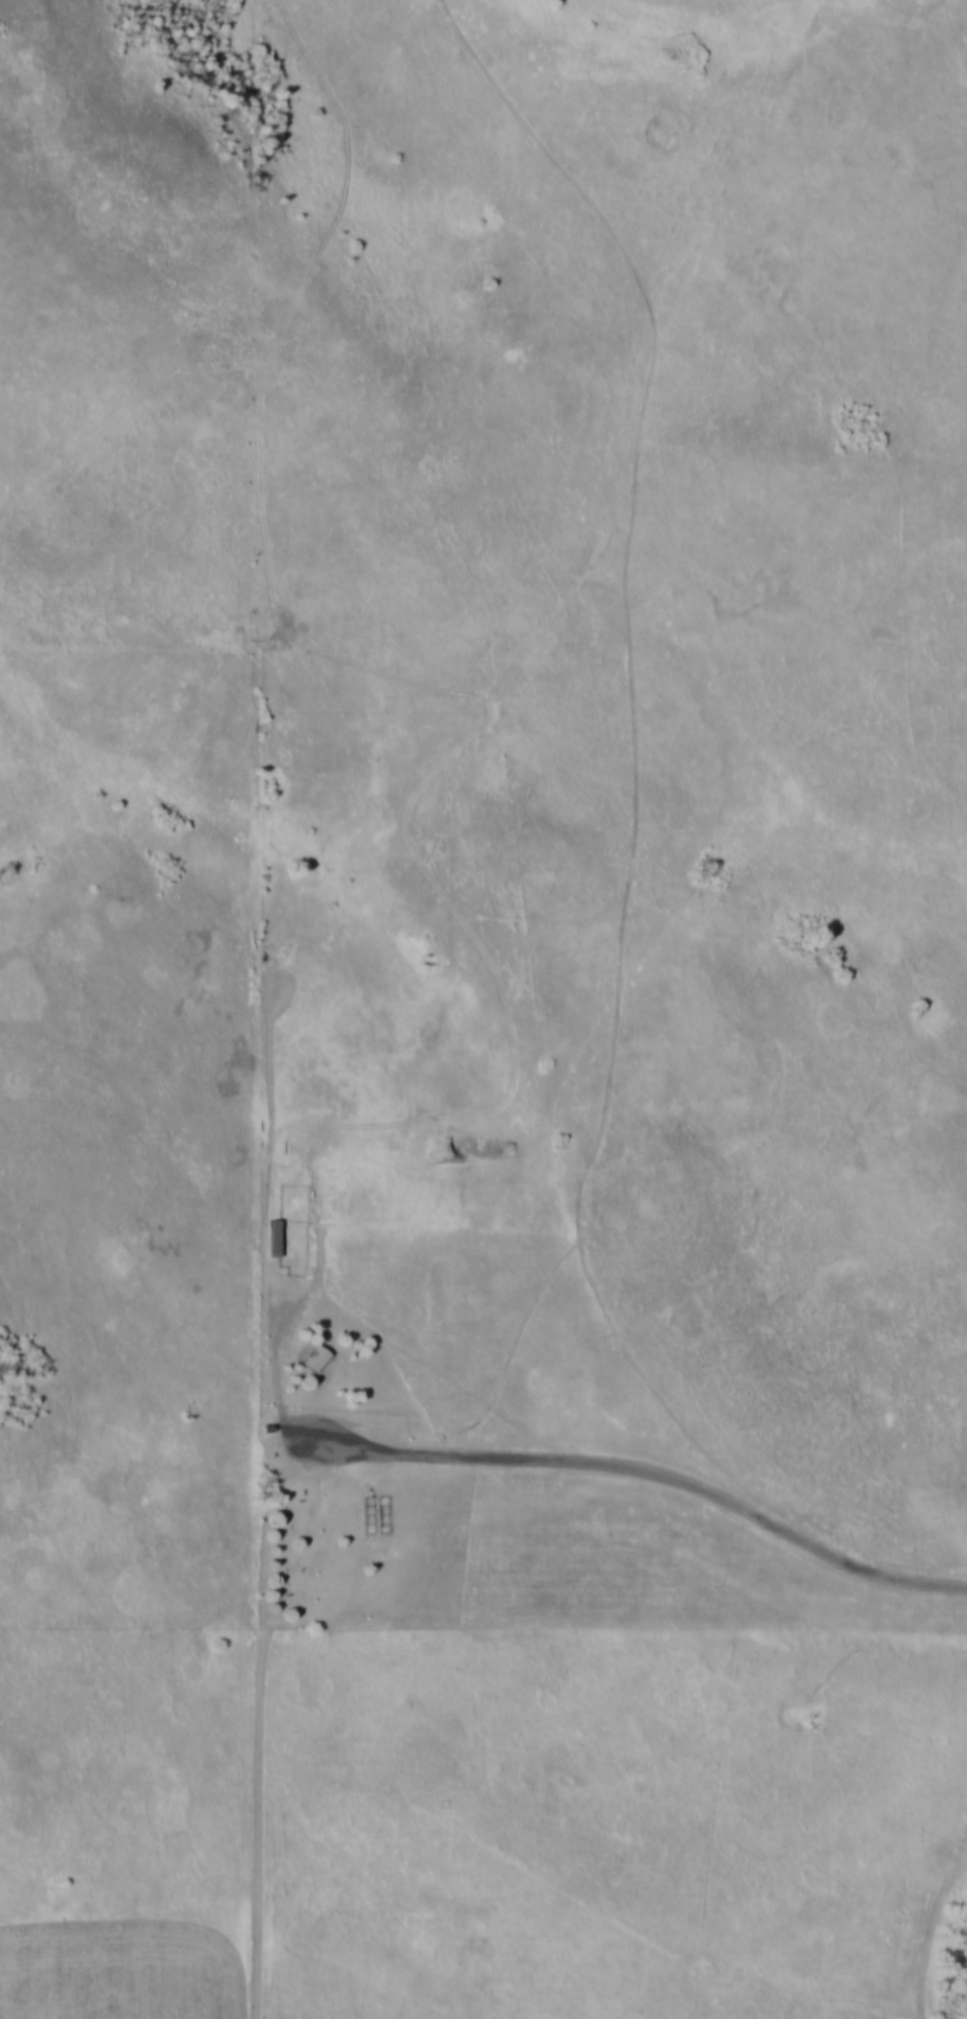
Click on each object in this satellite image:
park: (547, 756)
building: (277, 1236)
road: (276, 1356)
building: (318, 1357)
road: (644, 1477)
road: (769, 1514)
road: (282, 1788)

